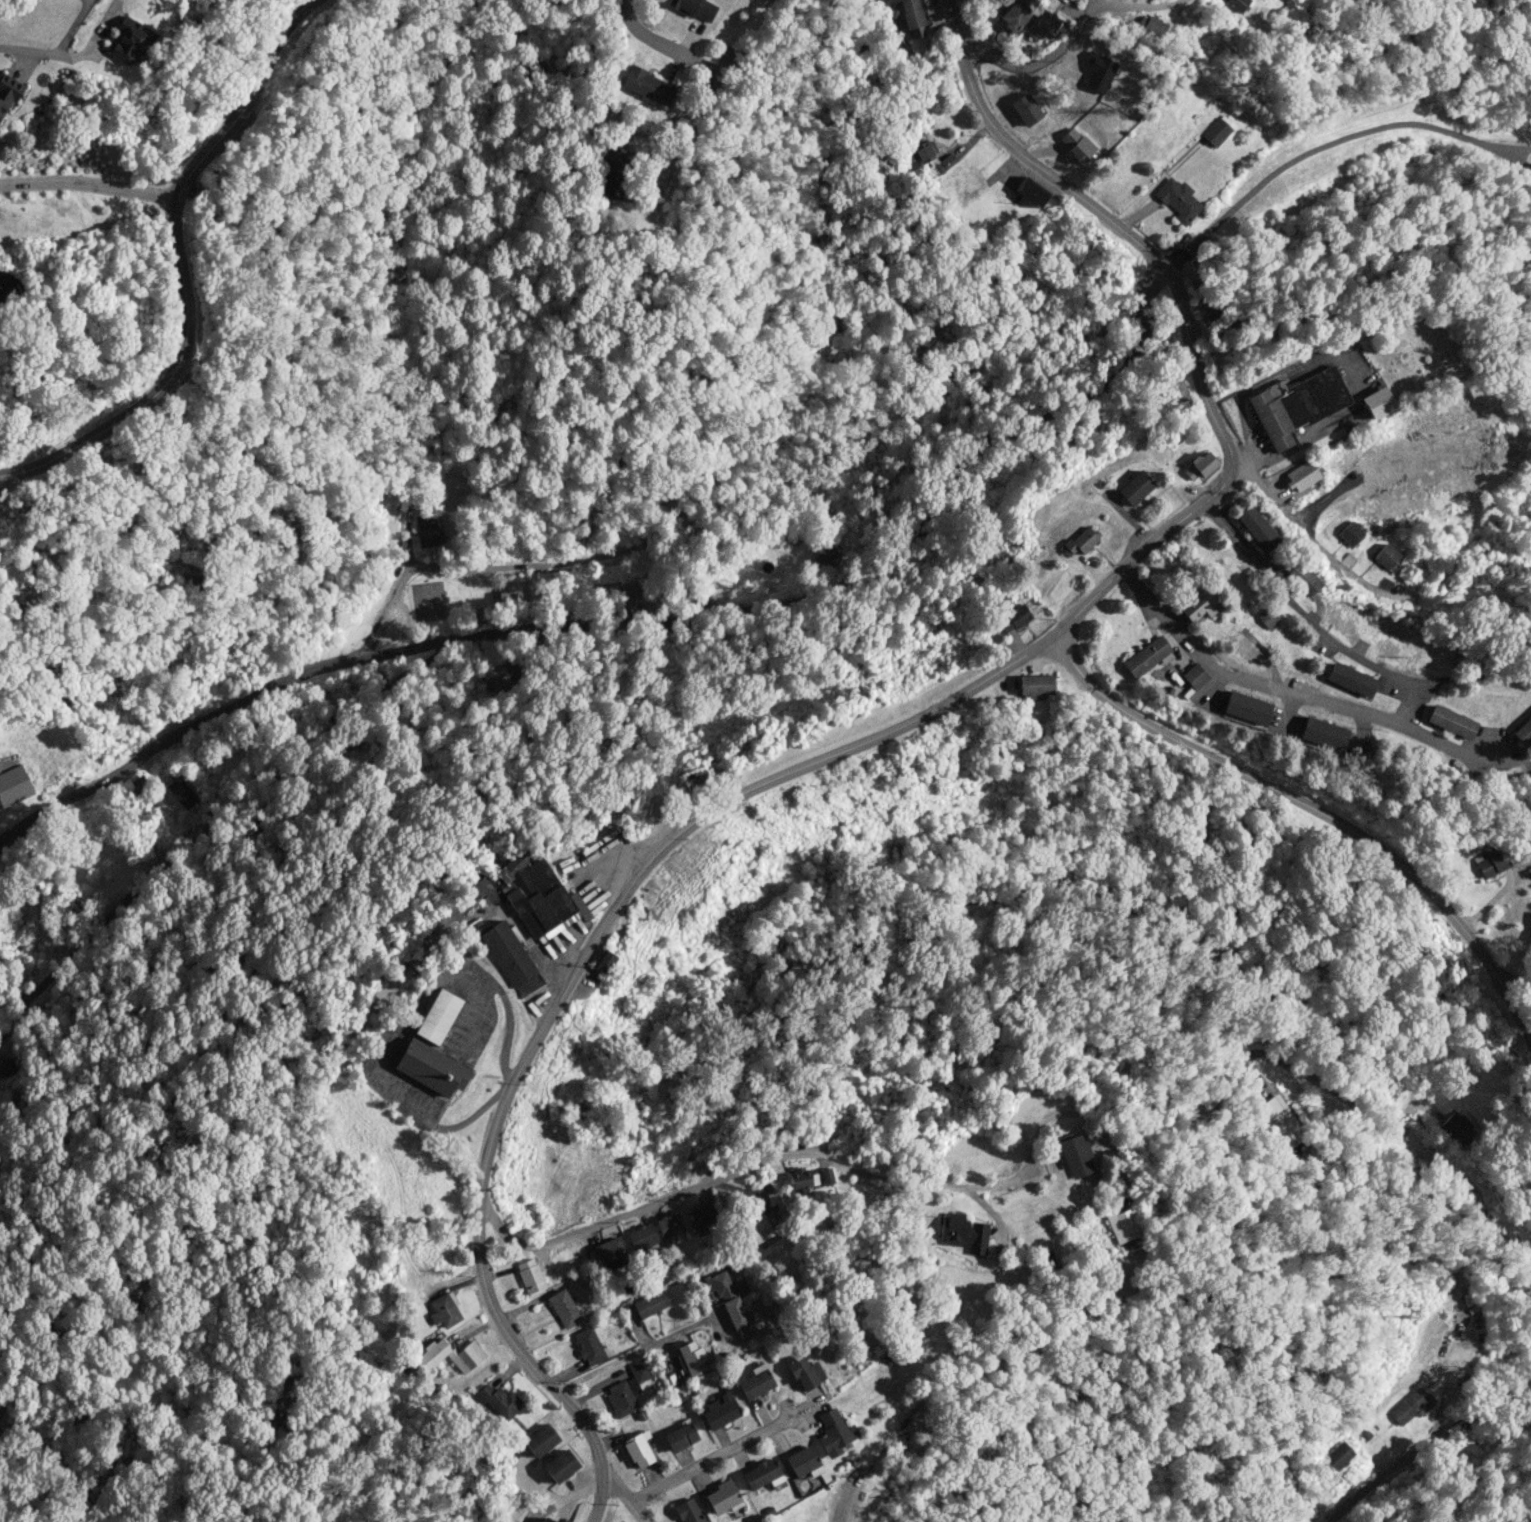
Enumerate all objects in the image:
road: (1092, 4)
building: (1236, 4)
building: (695, 8)
building: (1015, 15)
building: (912, 17)
building: (1042, 24)
building: (1151, 25)
building: (130, 41)
road: (1066, 45)
road: (661, 46)
building: (1098, 71)
building: (649, 86)
building: (8, 91)
building: (1025, 108)
building: (1215, 131)
road: (1329, 146)
building: (922, 150)
building: (944, 163)
building: (612, 170)
road: (88, 184)
building: (1030, 192)
building: (1178, 199)
road: (1109, 224)
road: (178, 266)
road: (1342, 355)
building: (1378, 402)
building: (1296, 405)
building: (1200, 465)
building: (1302, 475)
building: (1135, 488)
building: (1256, 528)
building: (427, 530)
building: (1350, 533)
building: (1082, 540)
road: (1316, 550)
building: (1386, 556)
building: (827, 558)
building: (1305, 580)
building: (630, 595)
building: (513, 597)
building: (1199, 605)
road: (1318, 613)
building: (1339, 614)
building: (1267, 617)
building: (1014, 619)
road: (638, 624)
building: (1393, 636)
building: (1237, 643)
building: (1148, 656)
building: (1194, 676)
building: (497, 677)
building: (1351, 679)
building: (1035, 686)
road: (1313, 698)
road: (1425, 706)
building: (1246, 707)
building: (1451, 721)
building: (1523, 732)
building: (1323, 733)
road: (802, 764)
building: (137, 784)
building: (14, 785)
building: (182, 793)
road: (1313, 808)
building: (1492, 864)
building: (527, 892)
road: (1499, 901)
building: (508, 954)
building: (604, 962)
building: (438, 1016)
building: (431, 1067)
building: (1280, 1121)
building: (1457, 1126)
road: (817, 1155)
building: (1076, 1156)
building: (827, 1176)
building: (800, 1178)
road: (1467, 1199)
building: (703, 1219)
building: (670, 1225)
building: (1123, 1225)
building: (759, 1229)
building: (964, 1233)
building: (642, 1237)
building: (605, 1252)
building: (529, 1275)
building: (732, 1302)
building: (651, 1304)
building: (564, 1308)
building: (445, 1310)
building: (589, 1346)
road: (520, 1354)
building: (450, 1355)
road: (636, 1355)
building: (691, 1359)
building: (804, 1372)
building: (756, 1382)
building: (627, 1390)
building: (499, 1401)
building: (1410, 1406)
building: (721, 1411)
building: (834, 1432)
building: (680, 1437)
building: (540, 1440)
road: (1431, 1443)
building: (638, 1449)
building: (1338, 1455)
road: (712, 1459)
building: (803, 1462)
building: (560, 1466)
building: (762, 1474)
building: (722, 1496)
road: (627, 1498)
building: (689, 1511)
building: (546, 1520)

